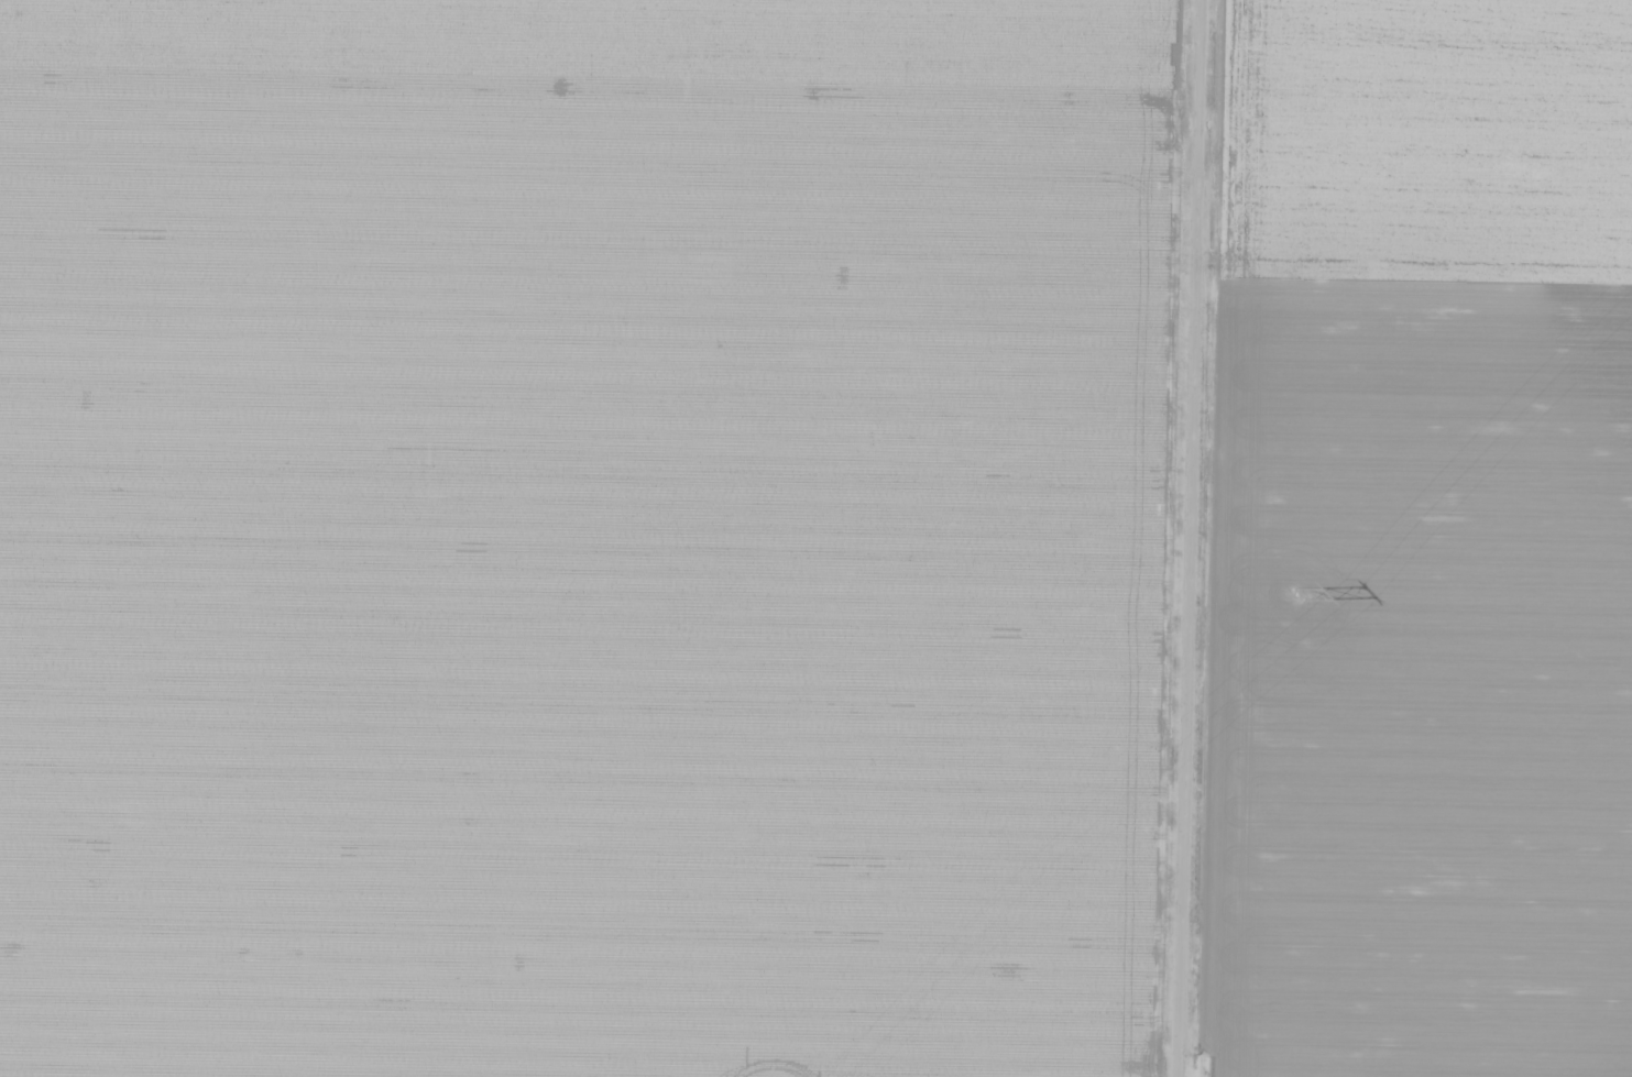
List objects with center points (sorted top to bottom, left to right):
road: (1182, 538)
power tower: (1294, 592)

